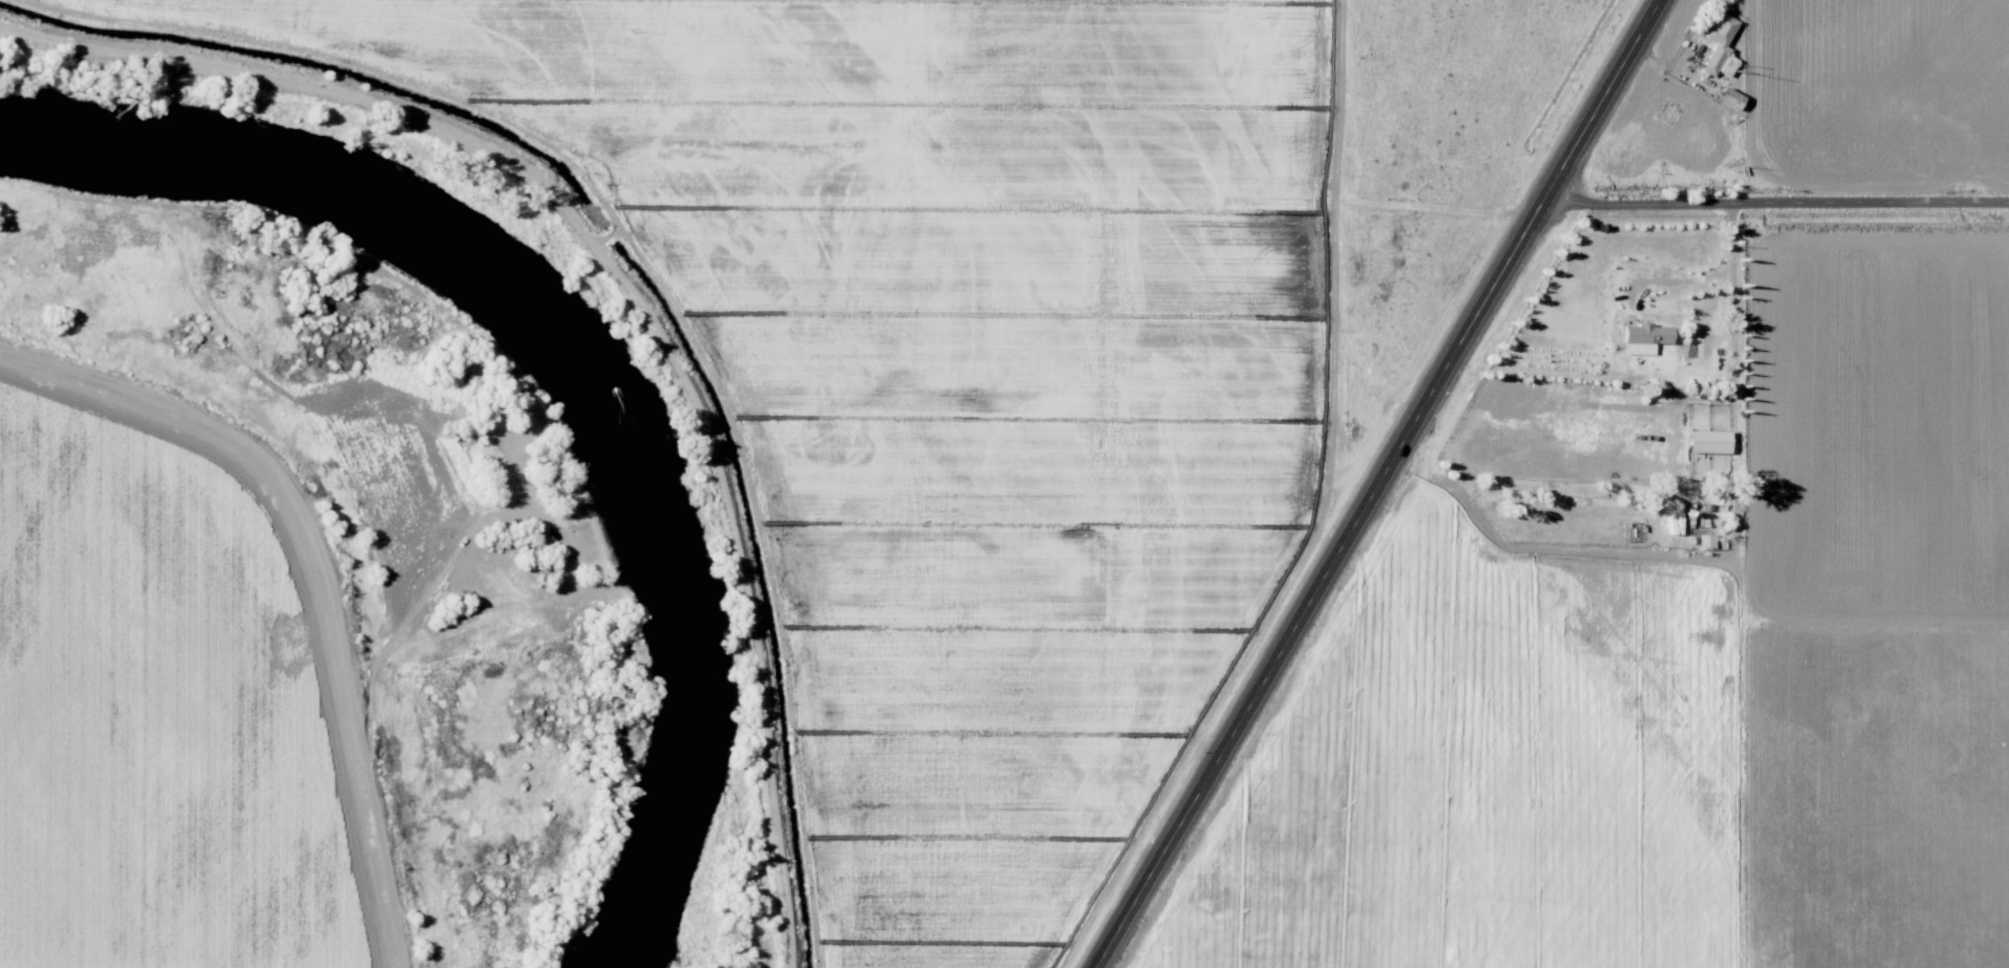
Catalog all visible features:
building: (1718, 46)
building: (1728, 97)
road: (1775, 200)
building: (1642, 336)
crop: (770, 355)
river: (501, 366)
road: (1107, 368)
building: (1706, 440)
road: (1380, 482)
road: (319, 567)
crop: (163, 701)

